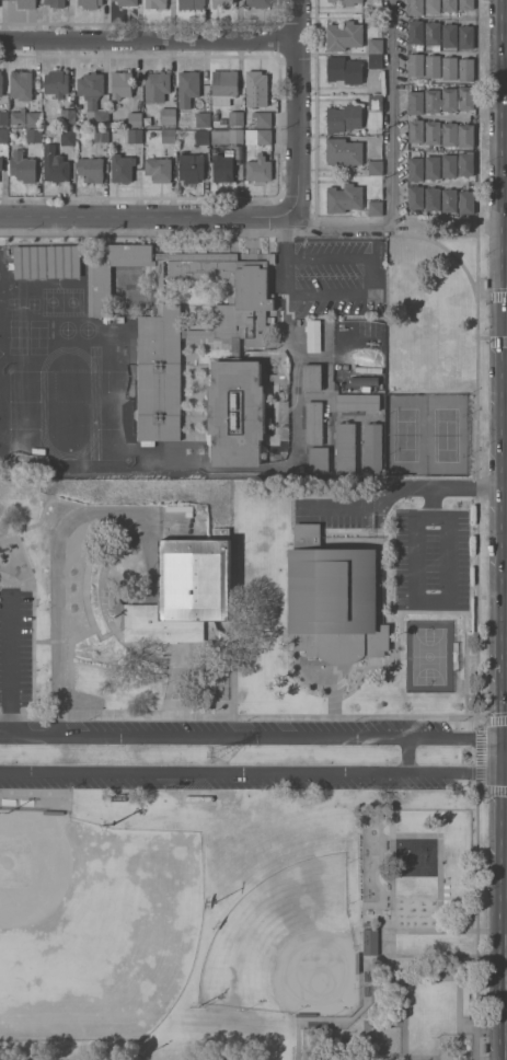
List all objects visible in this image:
building: (9, 0)
building: (331, 1)
building: (55, 2)
building: (126, 2)
building: (352, 2)
building: (25, 3)
building: (90, 3)
building: (222, 3)
building: (258, 3)
building: (155, 4)
building: (191, 4)
building: (465, 4)
building: (448, 5)
building: (431, 7)
building: (415, 8)
building: (415, 32)
building: (431, 33)
building: (448, 35)
building: (344, 36)
building: (465, 37)
road: (148, 39)
building: (375, 46)
building: (375, 60)
building: (415, 64)
building: (431, 66)
building: (449, 67)
building: (465, 69)
building: (344, 70)
building: (0, 81)
building: (56, 83)
building: (21, 84)
building: (120, 84)
building: (155, 87)
building: (223, 87)
building: (187, 88)
building: (256, 89)
building: (92, 96)
building: (449, 100)
building: (375, 102)
building: (415, 103)
road: (296, 106)
building: (18, 116)
building: (67, 116)
building: (215, 116)
building: (3, 117)
building: (168, 117)
building: (235, 118)
building: (262, 118)
building: (344, 118)
building: (33, 119)
building: (135, 119)
building: (201, 119)
building: (222, 122)
building: (415, 130)
building: (449, 134)
building: (3, 135)
building: (33, 135)
building: (101, 135)
building: (168, 135)
building: (134, 136)
building: (201, 136)
building: (227, 136)
building: (67, 137)
building: (257, 137)
building: (344, 152)
road: (390, 162)
building: (1, 163)
building: (54, 164)
building: (465, 164)
building: (449, 165)
building: (22, 168)
building: (122, 168)
building: (191, 168)
building: (221, 168)
building: (376, 168)
building: (431, 168)
building: (91, 169)
building: (158, 169)
building: (257, 169)
building: (415, 169)
building: (415, 197)
building: (344, 198)
building: (431, 198)
building: (449, 200)
building: (465, 201)
building: (373, 207)
road: (143, 215)
building: (30, 262)
building: (64, 262)
building: (159, 285)
building: (99, 290)
building: (235, 292)
building: (313, 336)
building: (220, 337)
building: (347, 350)
building: (373, 350)
building: (159, 376)
building: (311, 378)
building: (357, 402)
building: (235, 414)
building: (313, 424)
building: (345, 448)
building: (372, 449)
building: (319, 460)
road: (456, 488)
road: (368, 508)
building: (185, 591)
road: (433, 598)
building: (333, 600)
road: (55, 618)
road: (8, 668)
park: (251, 736)
road: (253, 736)
power tower: (220, 754)
road: (411, 756)
road: (253, 773)
building: (131, 795)
building: (369, 941)

